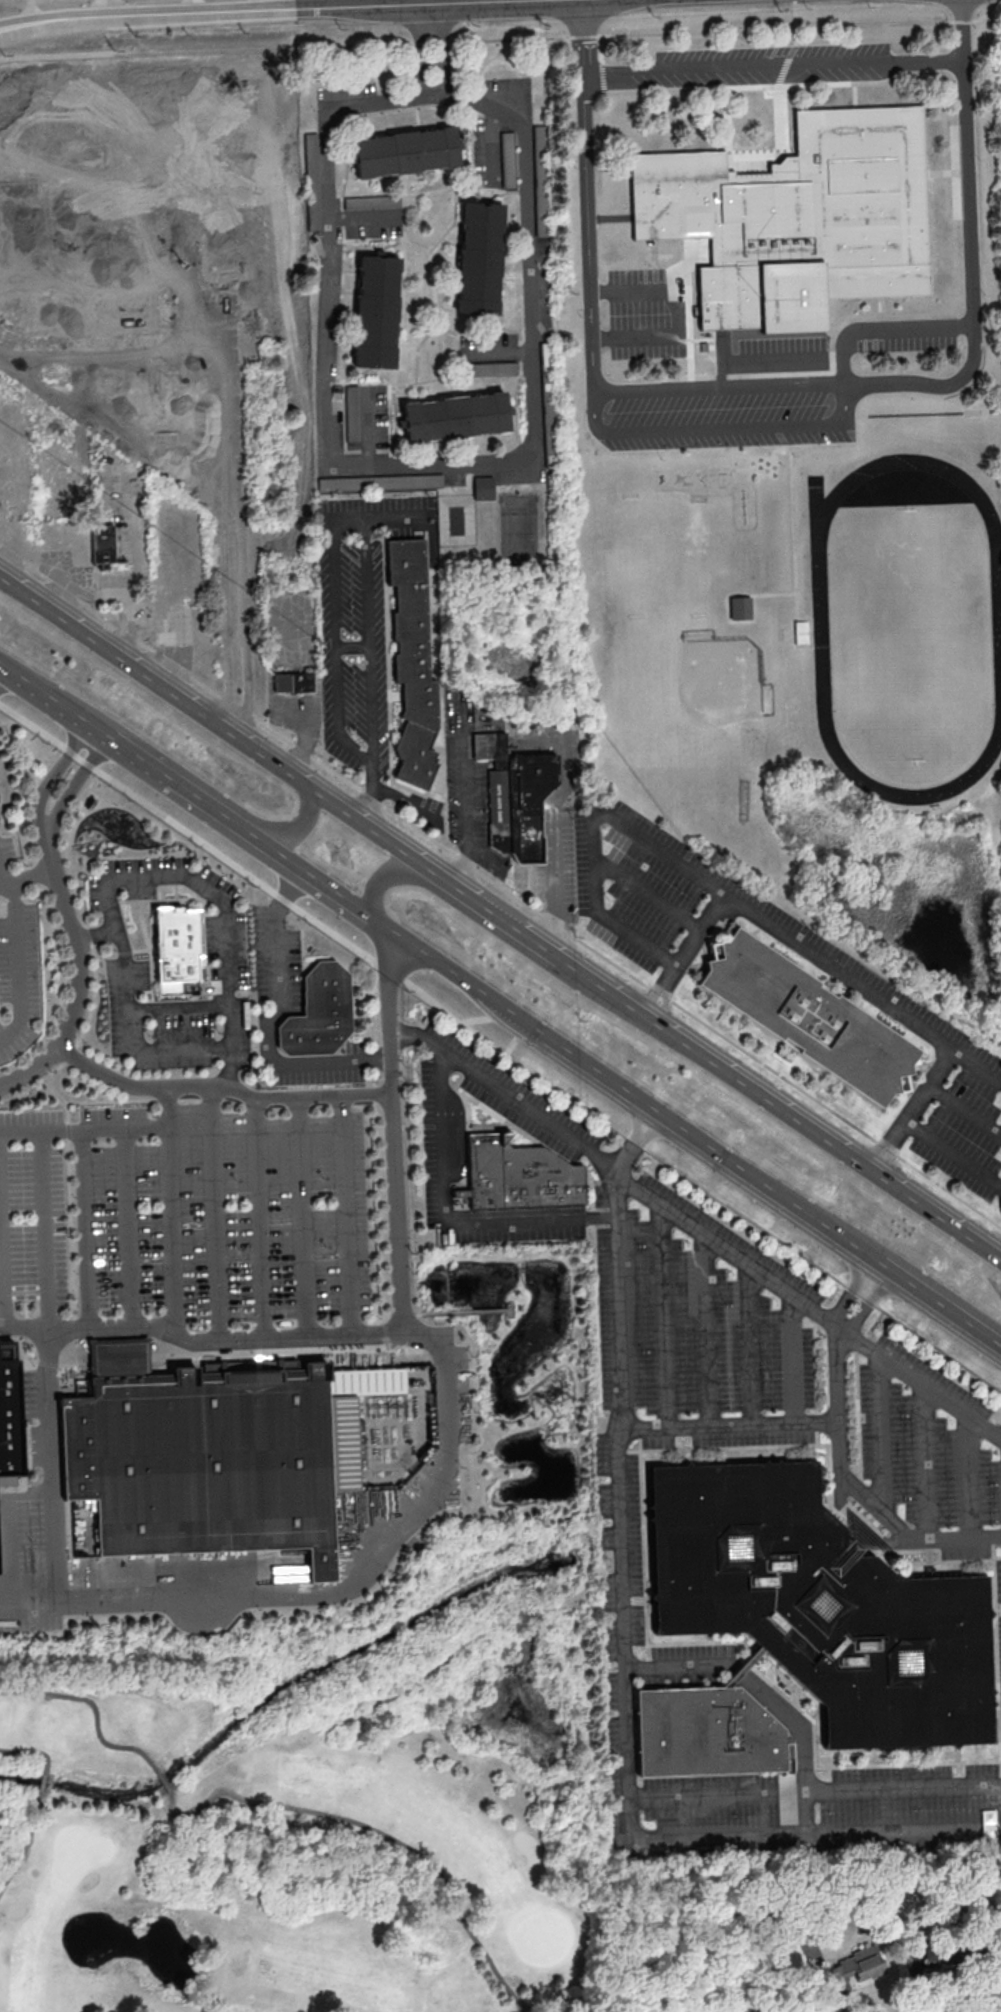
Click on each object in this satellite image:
road: (416, 1)
road: (439, 1)
road: (254, 7)
road: (503, 40)
road: (419, 51)
road: (441, 51)
road: (773, 66)
parking lot: (754, 68)
road: (725, 89)
road: (781, 102)
road: (731, 129)
building: (404, 151)
building: (507, 159)
road: (954, 174)
road: (942, 175)
building: (311, 181)
road: (587, 197)
road: (631, 198)
building: (370, 201)
road: (612, 218)
building: (802, 220)
road: (653, 243)
road: (702, 246)
road: (654, 251)
road: (970, 251)
building: (478, 257)
road: (690, 264)
road: (688, 305)
road: (881, 308)
building: (374, 310)
parking lot: (645, 316)
road: (679, 318)
road: (885, 330)
parking lot: (906, 341)
building: (704, 348)
parking lot: (782, 350)
road: (734, 352)
road: (774, 362)
road: (720, 364)
building: (491, 367)
road: (815, 373)
road: (718, 389)
building: (351, 412)
parking lot: (731, 414)
building: (454, 416)
road: (724, 431)
road: (780, 437)
road: (525, 460)
road: (739, 471)
building: (379, 481)
building: (485, 490)
road: (233, 516)
road: (399, 516)
road: (368, 520)
road: (792, 520)
park: (519, 532)
park: (714, 534)
park: (632, 536)
building: (101, 544)
road: (737, 596)
building: (743, 609)
road: (118, 630)
park: (821, 631)
stadium: (802, 633)
park: (911, 635)
road: (354, 647)
building: (416, 662)
road: (1, 666)
building: (297, 683)
road: (48, 696)
park: (685, 716)
road: (233, 720)
road: (219, 723)
road: (134, 755)
road: (46, 784)
road: (69, 791)
building: (520, 799)
road: (213, 808)
road: (556, 820)
road: (596, 821)
road: (295, 828)
road: (26, 875)
road: (2, 876)
road: (392, 876)
road: (326, 885)
road: (9, 890)
road: (289, 890)
road: (227, 915)
road: (508, 919)
road: (619, 925)
road: (106, 931)
road: (119, 944)
building: (177, 947)
road: (94, 953)
parking lot: (17, 960)
parking lot: (276, 964)
road: (620, 968)
road: (17, 973)
parking lot: (127, 973)
road: (841, 978)
road: (78, 984)
road: (178, 1006)
building: (320, 1011)
building: (810, 1017)
road: (268, 1042)
road: (135, 1046)
road: (499, 1050)
parking lot: (312, 1068)
road: (976, 1068)
road: (392, 1082)
road: (220, 1086)
road: (506, 1092)
road: (640, 1098)
road: (221, 1099)
road: (166, 1104)
road: (789, 1110)
road: (83, 1126)
road: (376, 1147)
road: (954, 1154)
building: (522, 1176)
road: (213, 1213)
road: (343, 1214)
parking lot: (185, 1215)
road: (300, 1216)
road: (69, 1217)
road: (261, 1217)
road: (452, 1217)
road: (126, 1225)
road: (83, 1226)
road: (43, 1228)
road: (172, 1230)
road: (731, 1250)
road: (2, 1277)
road: (941, 1301)
road: (508, 1309)
road: (465, 1310)
road: (403, 1314)
road: (664, 1315)
road: (702, 1328)
road: (198, 1341)
road: (751, 1345)
road: (795, 1359)
road: (919, 1382)
building: (12, 1410)
road: (778, 1422)
road: (882, 1434)
building: (220, 1453)
road: (928, 1464)
road: (52, 1467)
road: (970, 1477)
road: (890, 1518)
building: (1, 1550)
road: (377, 1556)
building: (822, 1605)
road: (684, 1667)
building: (744, 1668)
road: (740, 1673)
road: (632, 1685)
road: (93, 1711)
building: (707, 1733)
road: (804, 1739)
road: (32, 1752)
road: (164, 1783)
road: (41, 1790)
park: (321, 1806)
building: (988, 1824)
road: (380, 1834)
road: (24, 1849)
building: (791, 1958)
building: (856, 1966)
road: (523, 2011)
building: (753, 2011)

